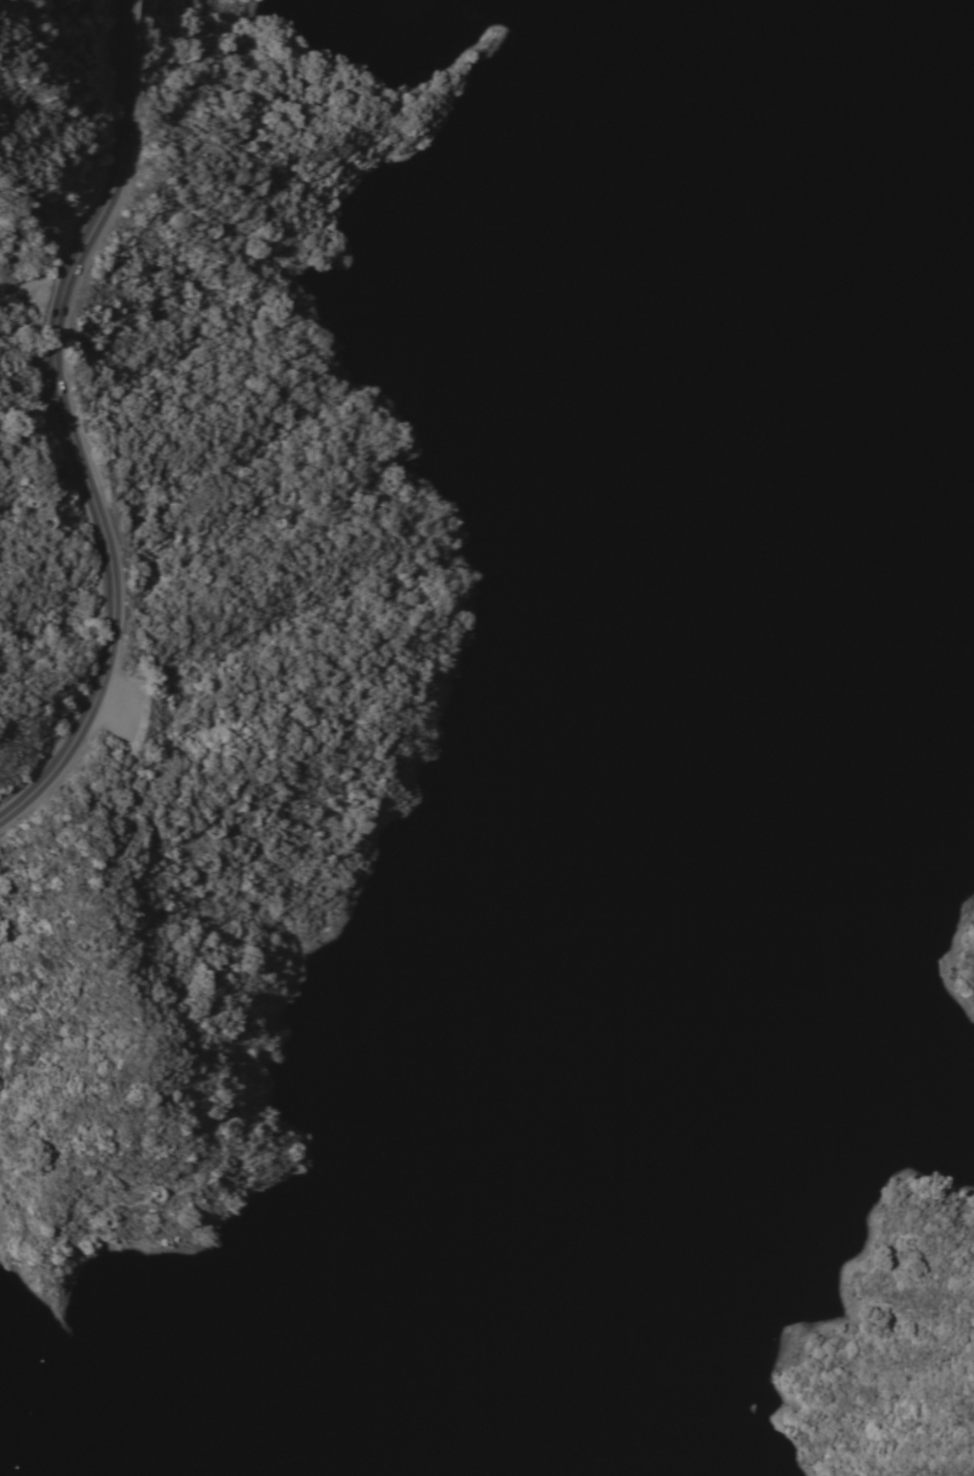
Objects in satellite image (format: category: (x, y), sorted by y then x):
road: (66, 422)
parking lot: (124, 708)
river: (552, 779)

